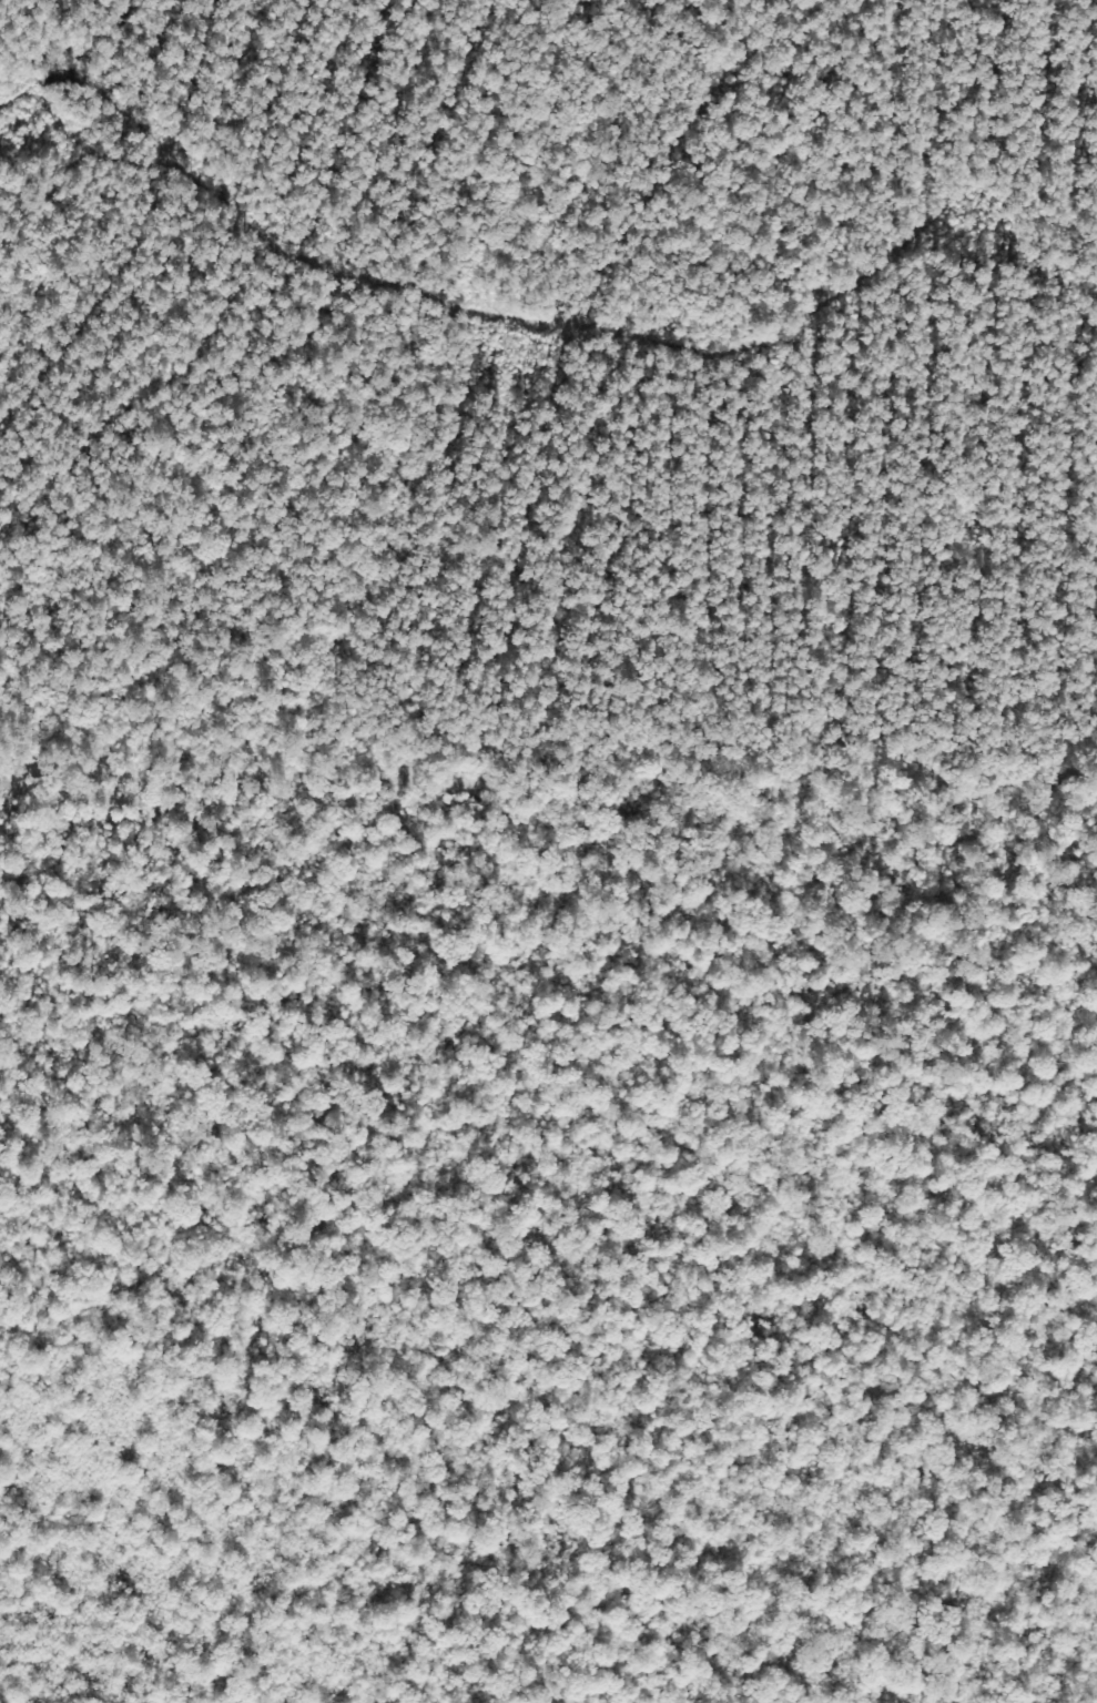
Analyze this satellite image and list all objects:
road: (32, 95)

